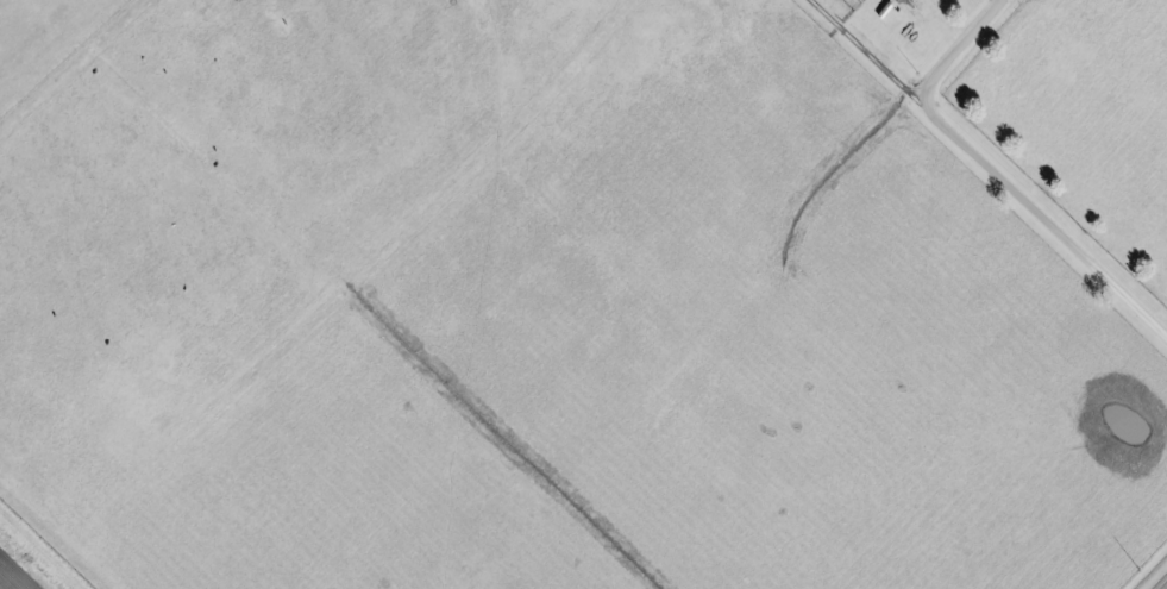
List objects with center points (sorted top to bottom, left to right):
road: (956, 51)
road: (986, 175)

